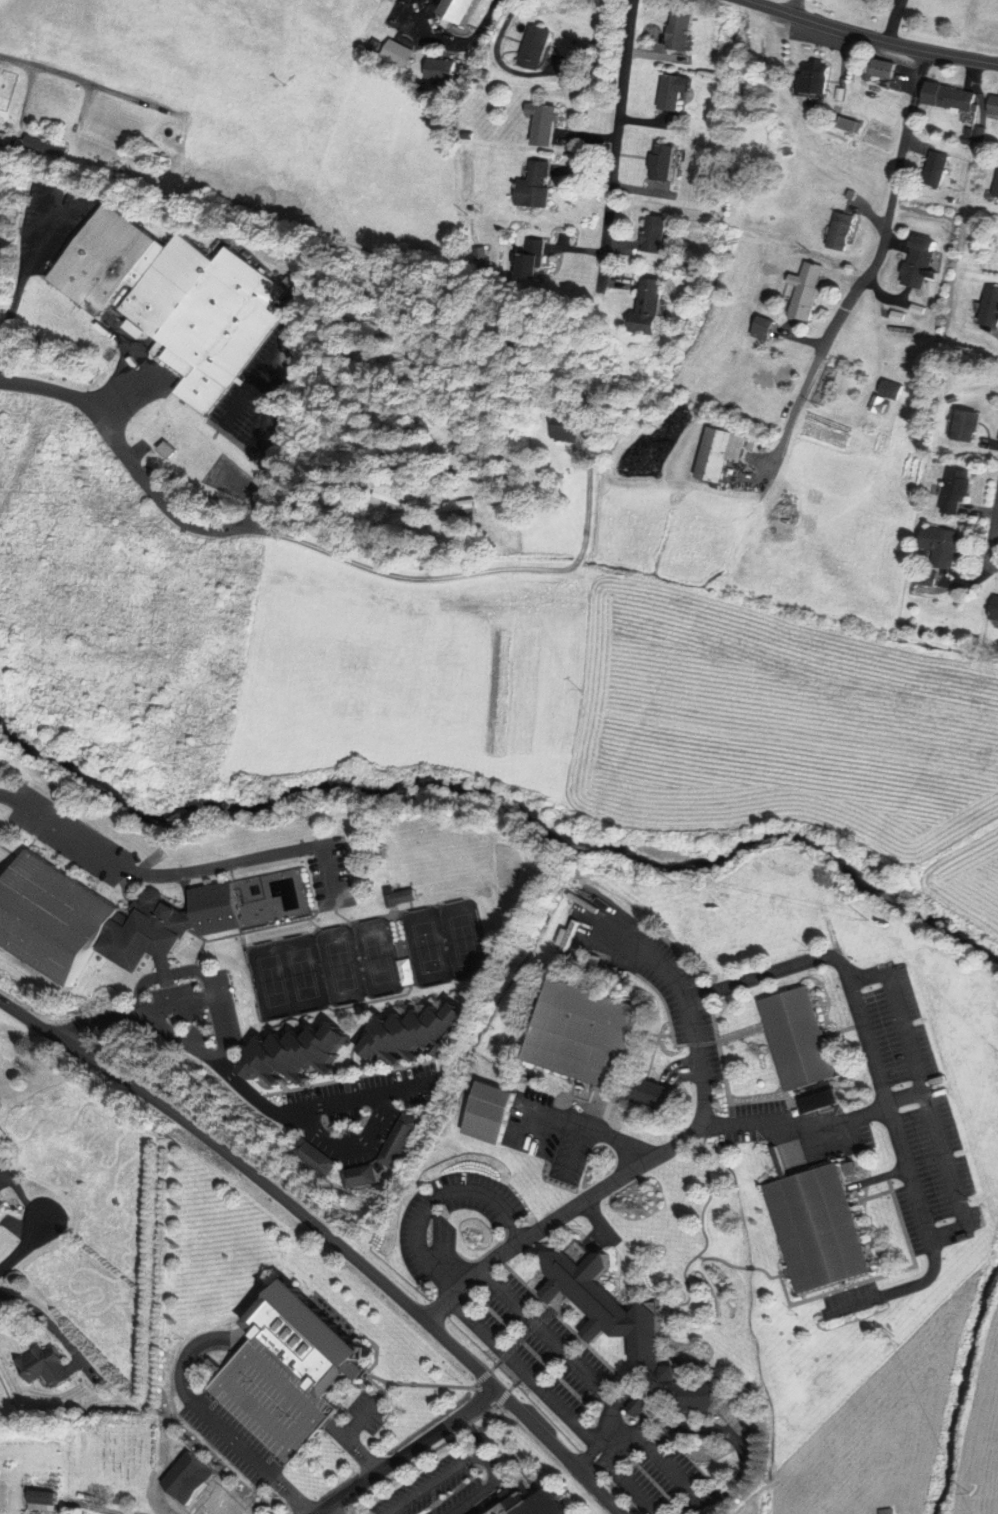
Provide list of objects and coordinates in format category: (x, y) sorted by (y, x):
building: (470, 10)
building: (684, 30)
road: (872, 39)
building: (543, 49)
building: (402, 55)
building: (885, 68)
building: (448, 72)
building: (815, 79)
road: (92, 83)
building: (675, 93)
building: (841, 93)
building: (951, 96)
building: (995, 104)
building: (849, 123)
building: (548, 124)
building: (970, 132)
building: (982, 133)
building: (3, 137)
road: (616, 144)
building: (47, 146)
building: (147, 156)
building: (663, 162)
building: (937, 168)
building: (927, 169)
building: (538, 185)
building: (997, 192)
road: (890, 211)
building: (843, 230)
building: (656, 234)
park: (991, 246)
building: (534, 258)
building: (919, 261)
road: (22, 279)
building: (806, 290)
building: (177, 300)
building: (50, 306)
building: (650, 306)
building: (992, 306)
building: (918, 308)
building: (898, 315)
building: (893, 389)
road: (120, 395)
road: (246, 396)
building: (878, 403)
road: (792, 419)
building: (969, 425)
building: (569, 426)
road: (590, 442)
building: (750, 444)
building: (720, 452)
road: (132, 467)
road: (263, 479)
building: (717, 484)
building: (957, 489)
building: (390, 498)
building: (461, 508)
road: (993, 538)
building: (944, 545)
road: (996, 563)
building: (929, 576)
road: (458, 577)
building: (996, 608)
river: (506, 795)
road: (5, 796)
road: (184, 873)
building: (398, 898)
building: (823, 904)
building: (215, 910)
building: (52, 918)
park: (52, 918)
building: (150, 935)
park: (462, 937)
park: (425, 944)
park: (373, 954)
road: (682, 955)
park: (336, 961)
park: (299, 968)
road: (773, 970)
park: (264, 975)
road: (706, 993)
road: (213, 996)
road: (666, 1009)
road: (844, 1028)
road: (742, 1032)
building: (585, 1033)
road: (656, 1034)
building: (422, 1035)
building: (799, 1038)
road: (702, 1043)
building: (301, 1055)
road: (650, 1064)
road: (647, 1075)
road: (846, 1078)
road: (241, 1087)
building: (652, 1093)
road: (744, 1103)
road: (929, 1104)
building: (490, 1111)
road: (821, 1112)
road: (796, 1127)
road: (586, 1131)
building: (397, 1141)
road: (337, 1148)
road: (669, 1148)
road: (572, 1150)
building: (307, 1156)
building: (353, 1177)
road: (878, 1177)
building: (0, 1191)
road: (872, 1196)
road: (436, 1201)
building: (2, 1206)
road: (595, 1218)
parking lot: (457, 1225)
building: (819, 1227)
road: (327, 1235)
road: (705, 1236)
road: (24, 1247)
road: (485, 1254)
road: (721, 1260)
road: (749, 1268)
road: (767, 1273)
road: (877, 1277)
road: (844, 1284)
road: (898, 1291)
road: (559, 1301)
road: (561, 1310)
building: (627, 1328)
road: (525, 1334)
building: (308, 1338)
road: (547, 1339)
road: (376, 1345)
road: (588, 1345)
parking lot: (541, 1351)
road: (263, 1365)
road: (495, 1366)
building: (52, 1368)
road: (483, 1377)
road: (517, 1382)
road: (375, 1383)
road: (422, 1384)
road: (383, 1392)
river: (959, 1393)
road: (503, 1397)
building: (271, 1398)
parking garage: (271, 1398)
road: (630, 1400)
road: (557, 1403)
road: (335, 1404)
road: (339, 1406)
road: (495, 1406)
parking lot: (368, 1412)
road: (479, 1417)
road: (207, 1419)
road: (351, 1430)
parking lot: (232, 1439)
road: (735, 1442)
road: (485, 1446)
road: (352, 1447)
road: (409, 1452)
road: (603, 1454)
road: (470, 1459)
park: (117, 1464)
road: (678, 1473)
building: (184, 1476)
road: (502, 1481)
parking lot: (668, 1484)
parking lot: (447, 1486)
road: (490, 1496)
building: (49, 1501)
building: (531, 1501)
building: (197, 1507)
road: (114, 1509)
road: (333, 1510)
road: (488, 1510)
parking lot: (194, 1511)

